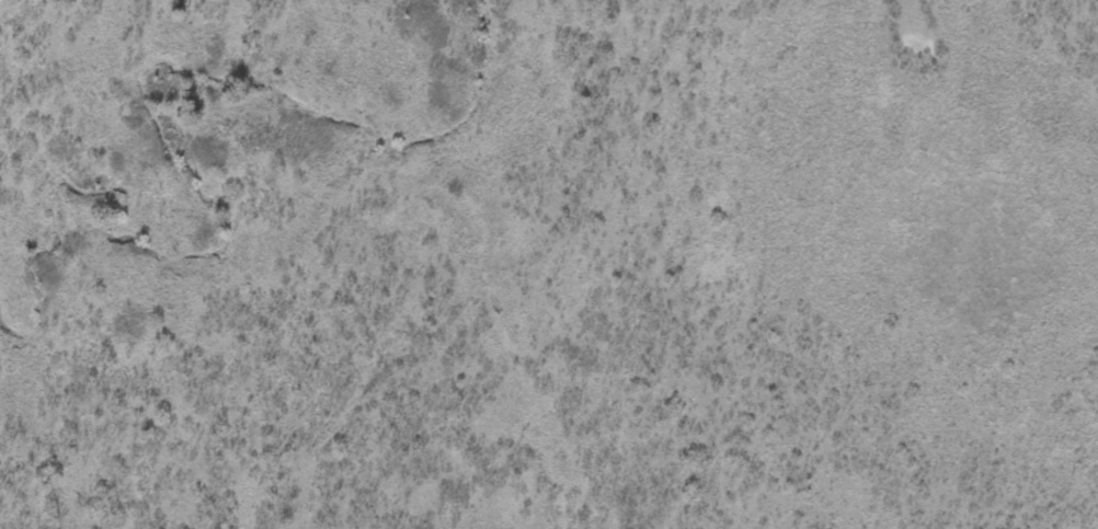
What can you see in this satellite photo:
road: (14, 21)

